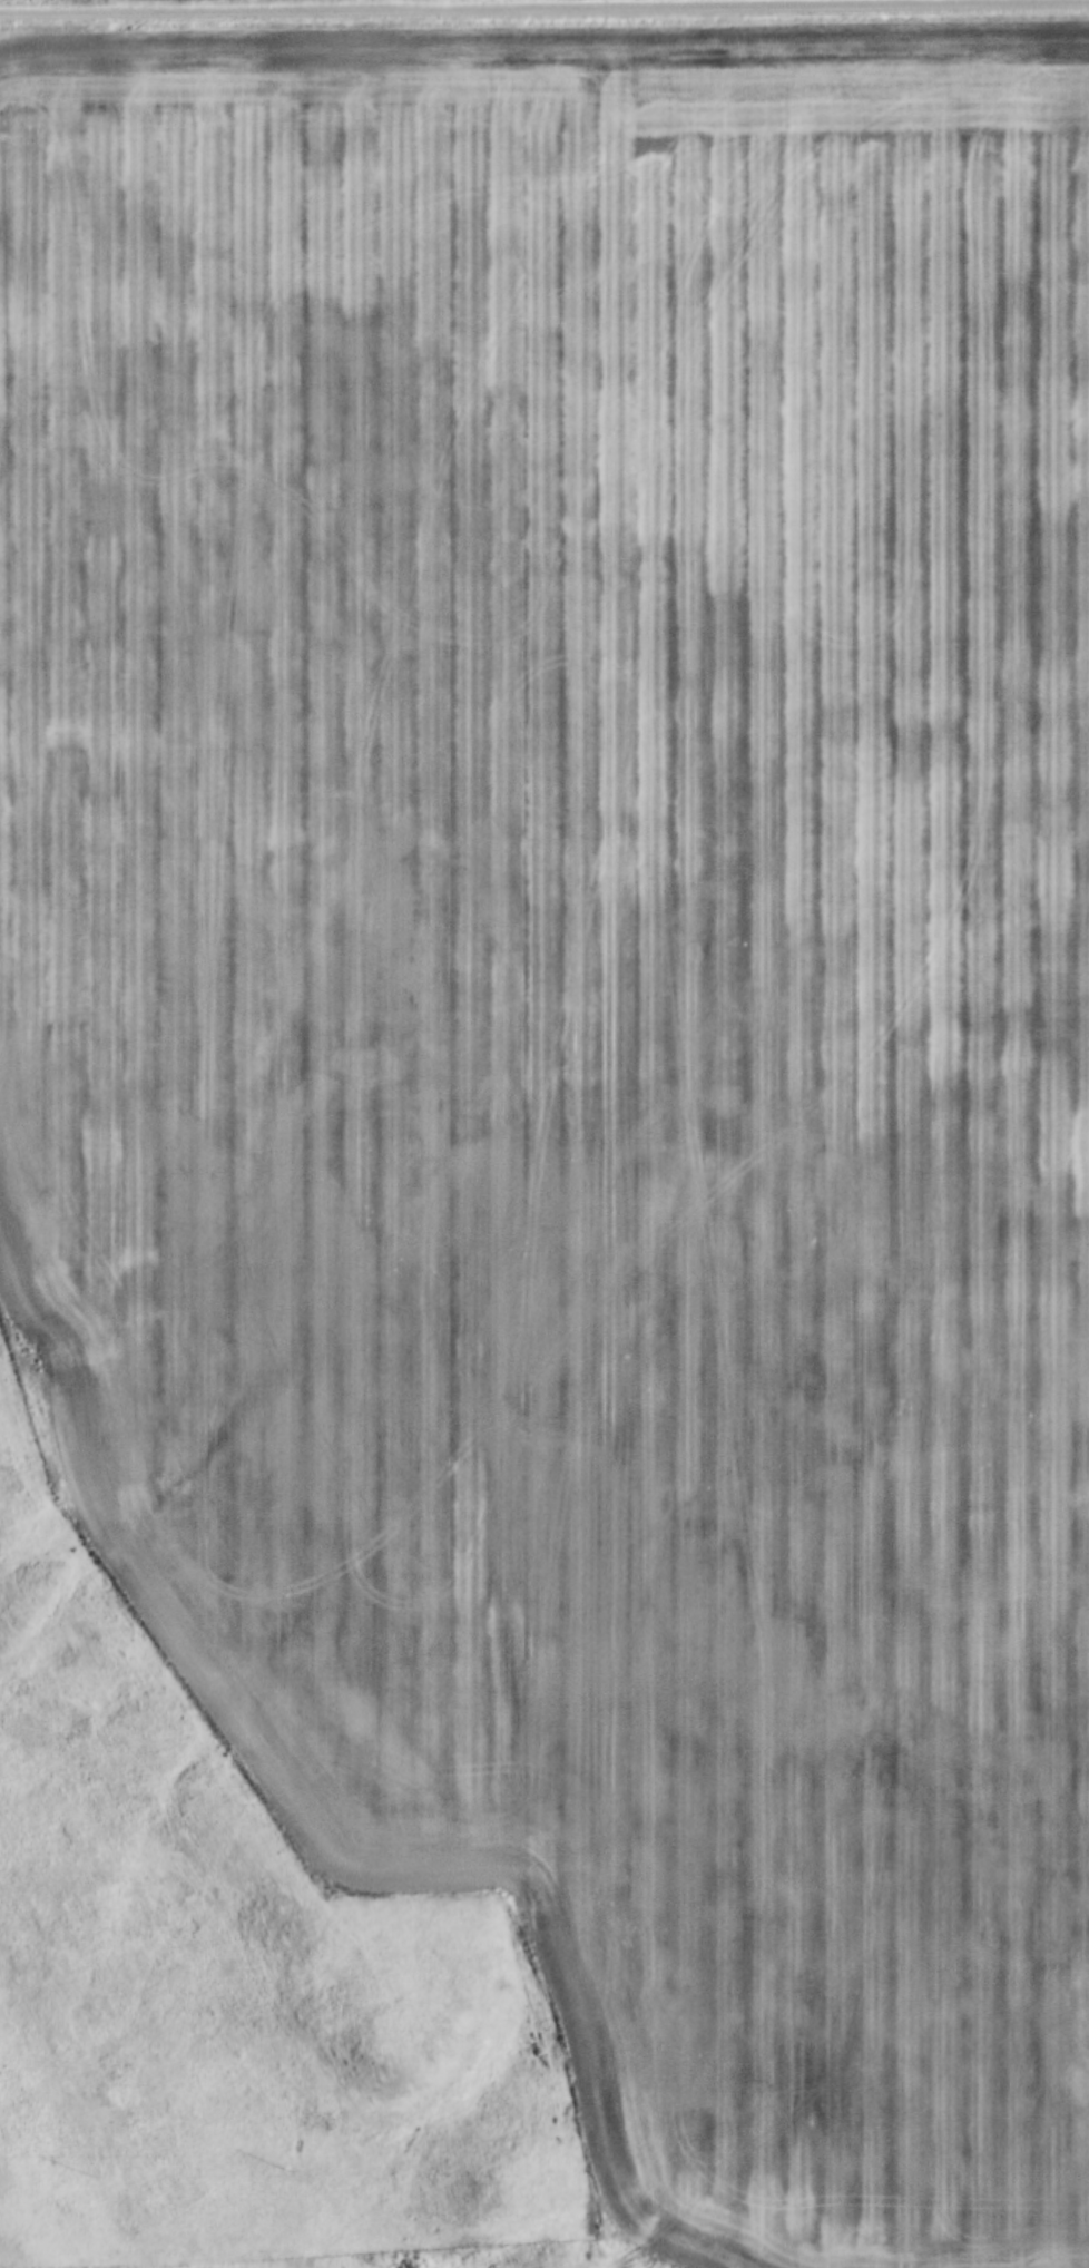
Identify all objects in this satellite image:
road: (543, 6)

